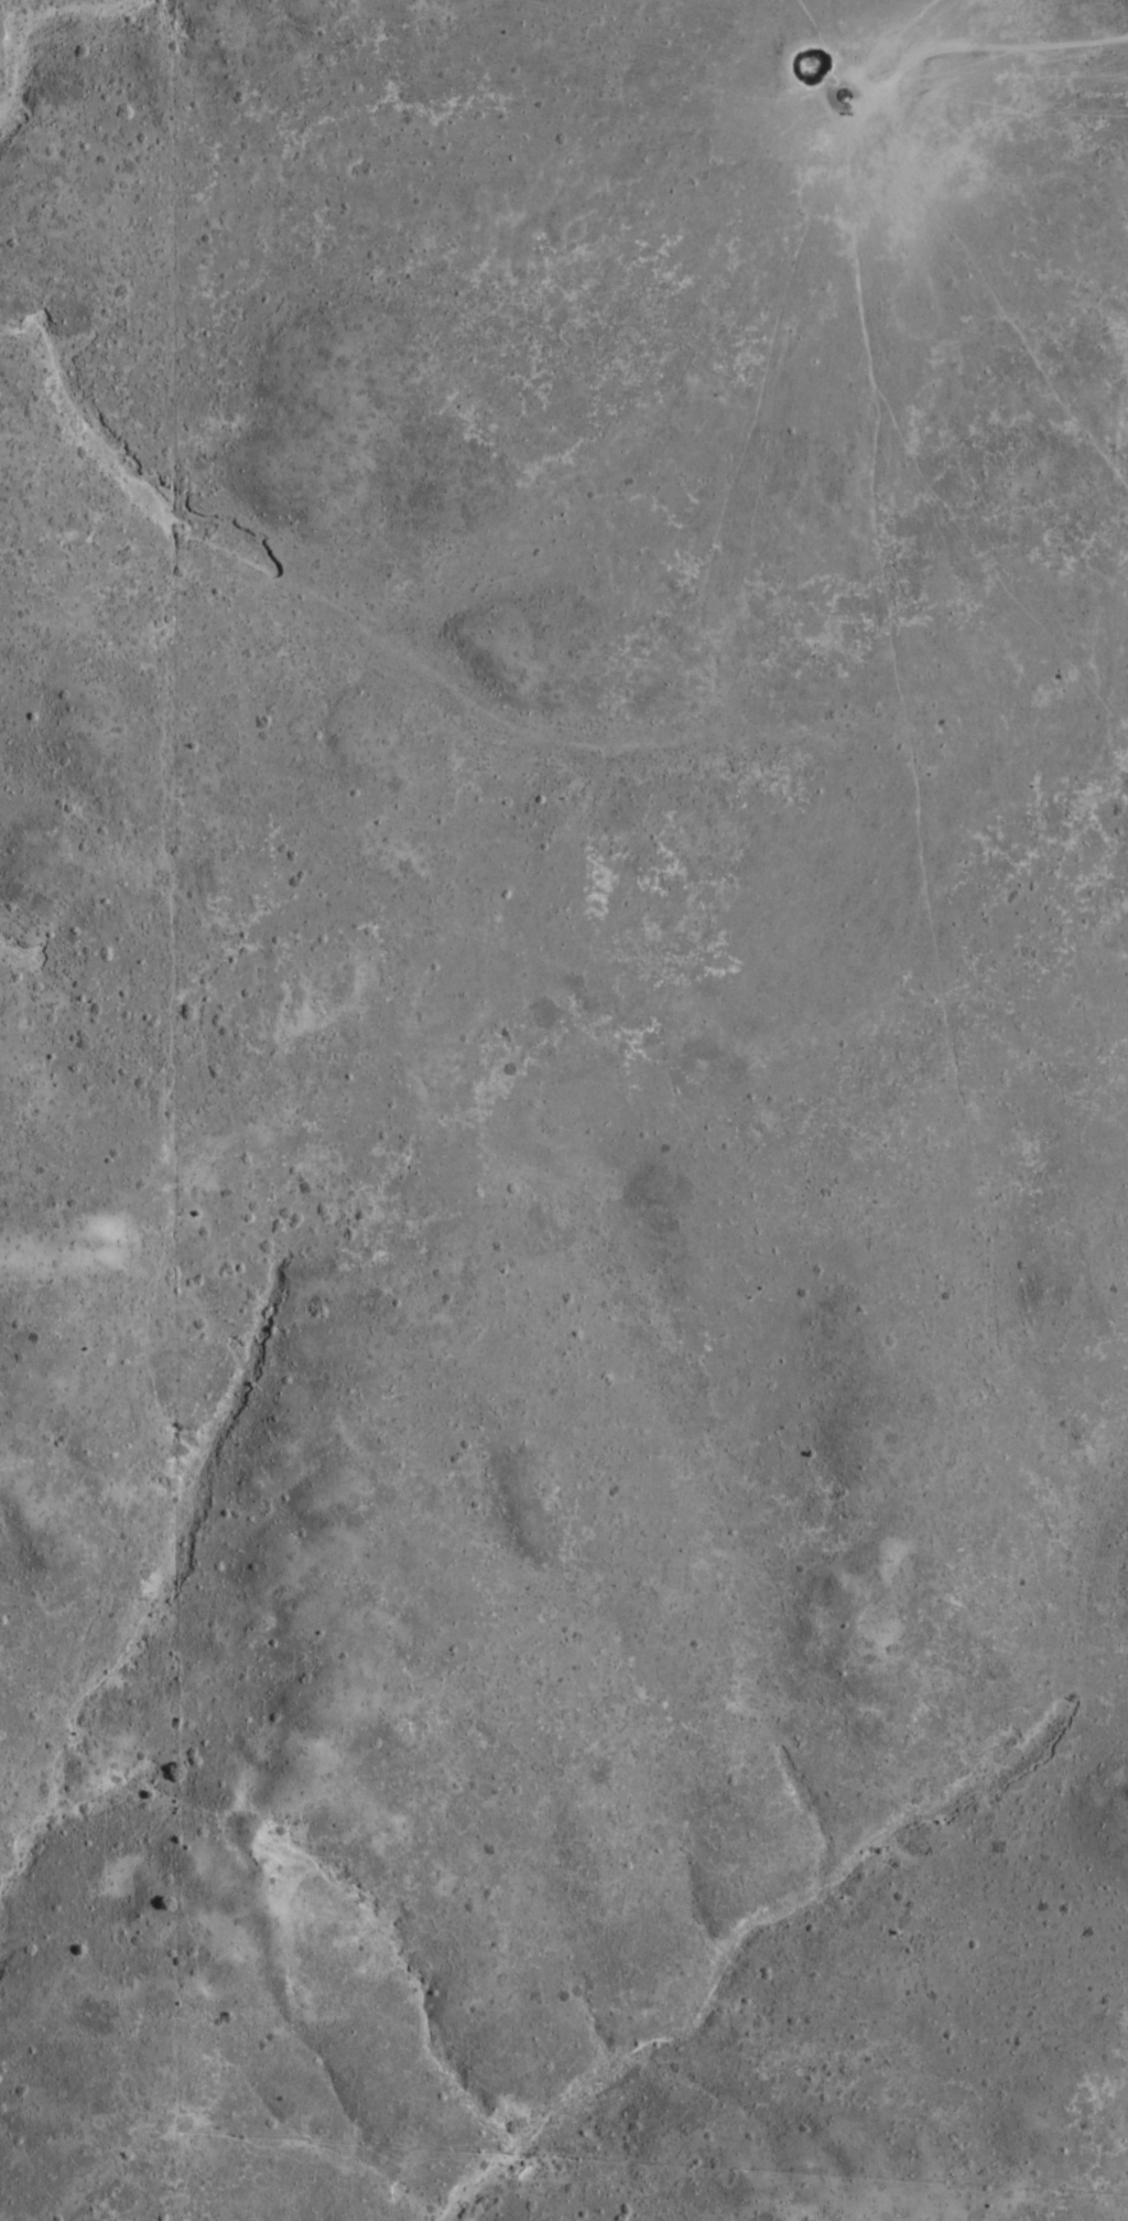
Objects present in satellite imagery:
road: (1018, 29)

